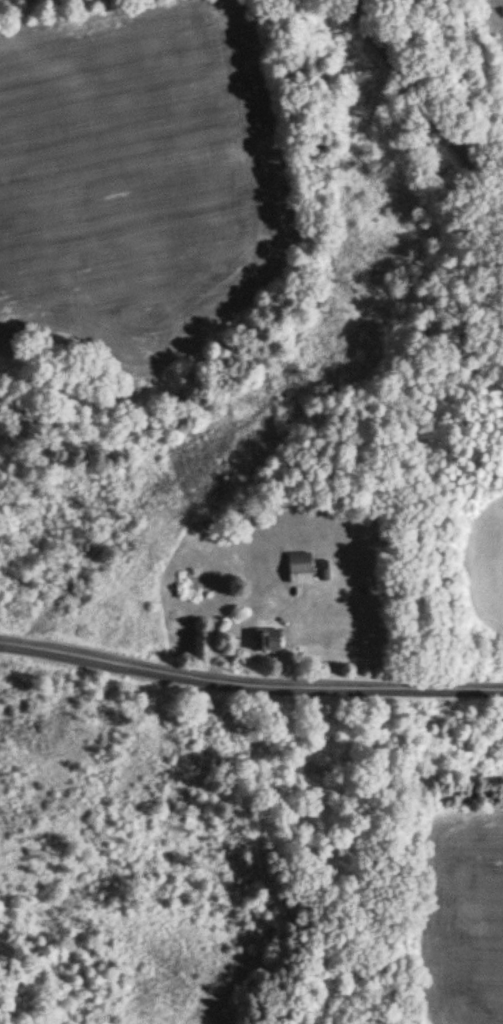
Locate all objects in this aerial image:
road: (427, 102)
building: (300, 570)
building: (268, 641)
road: (248, 688)

